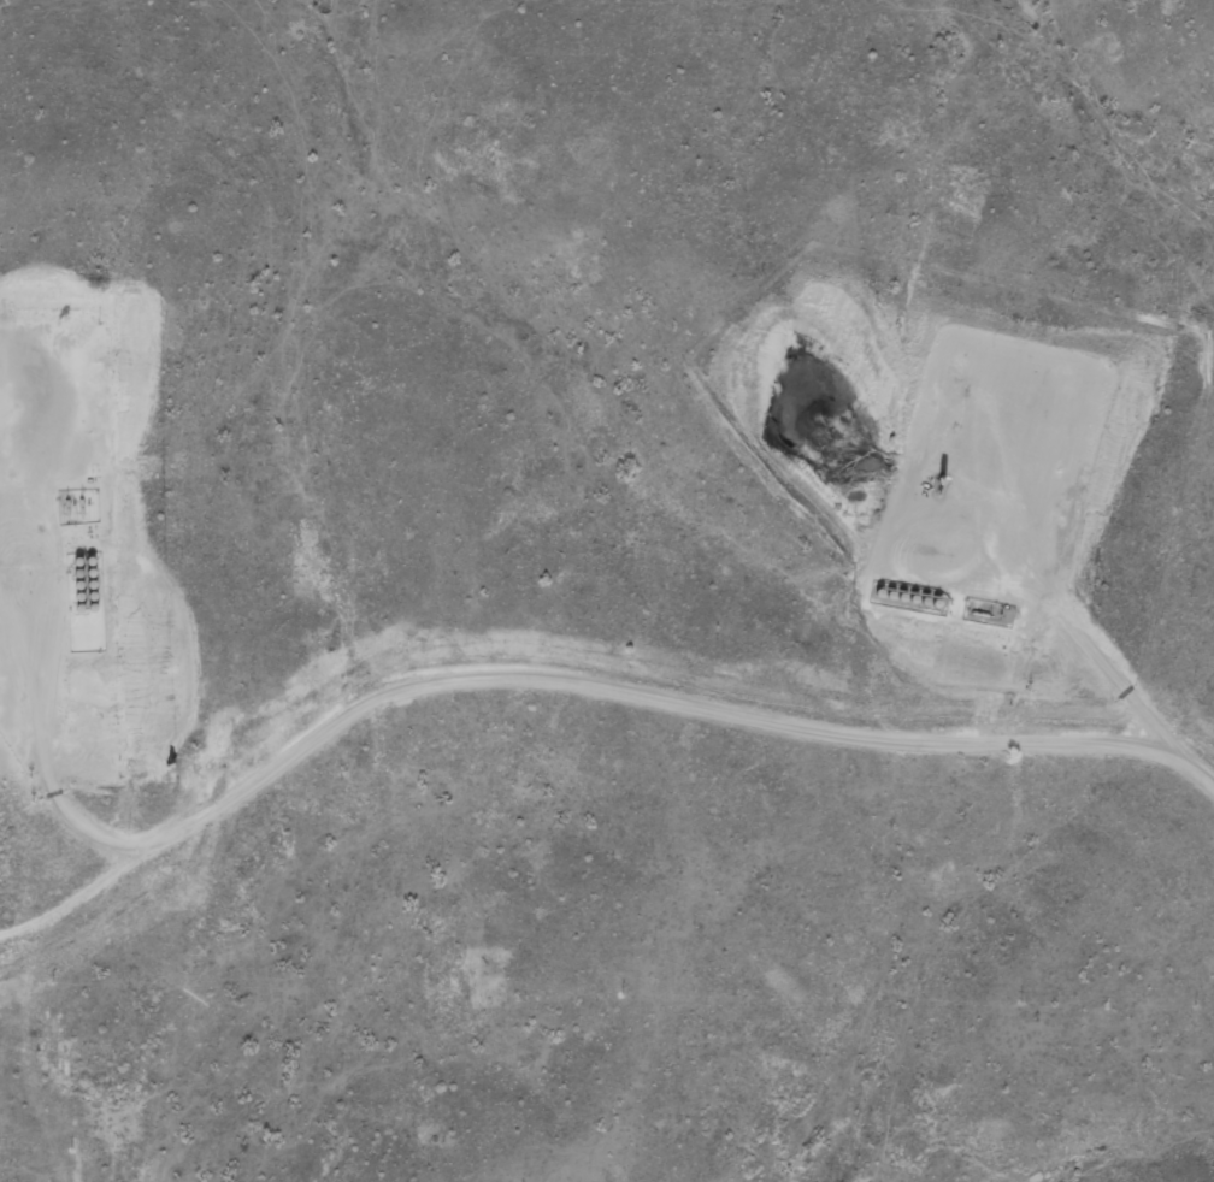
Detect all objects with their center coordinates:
road: (582, 679)

